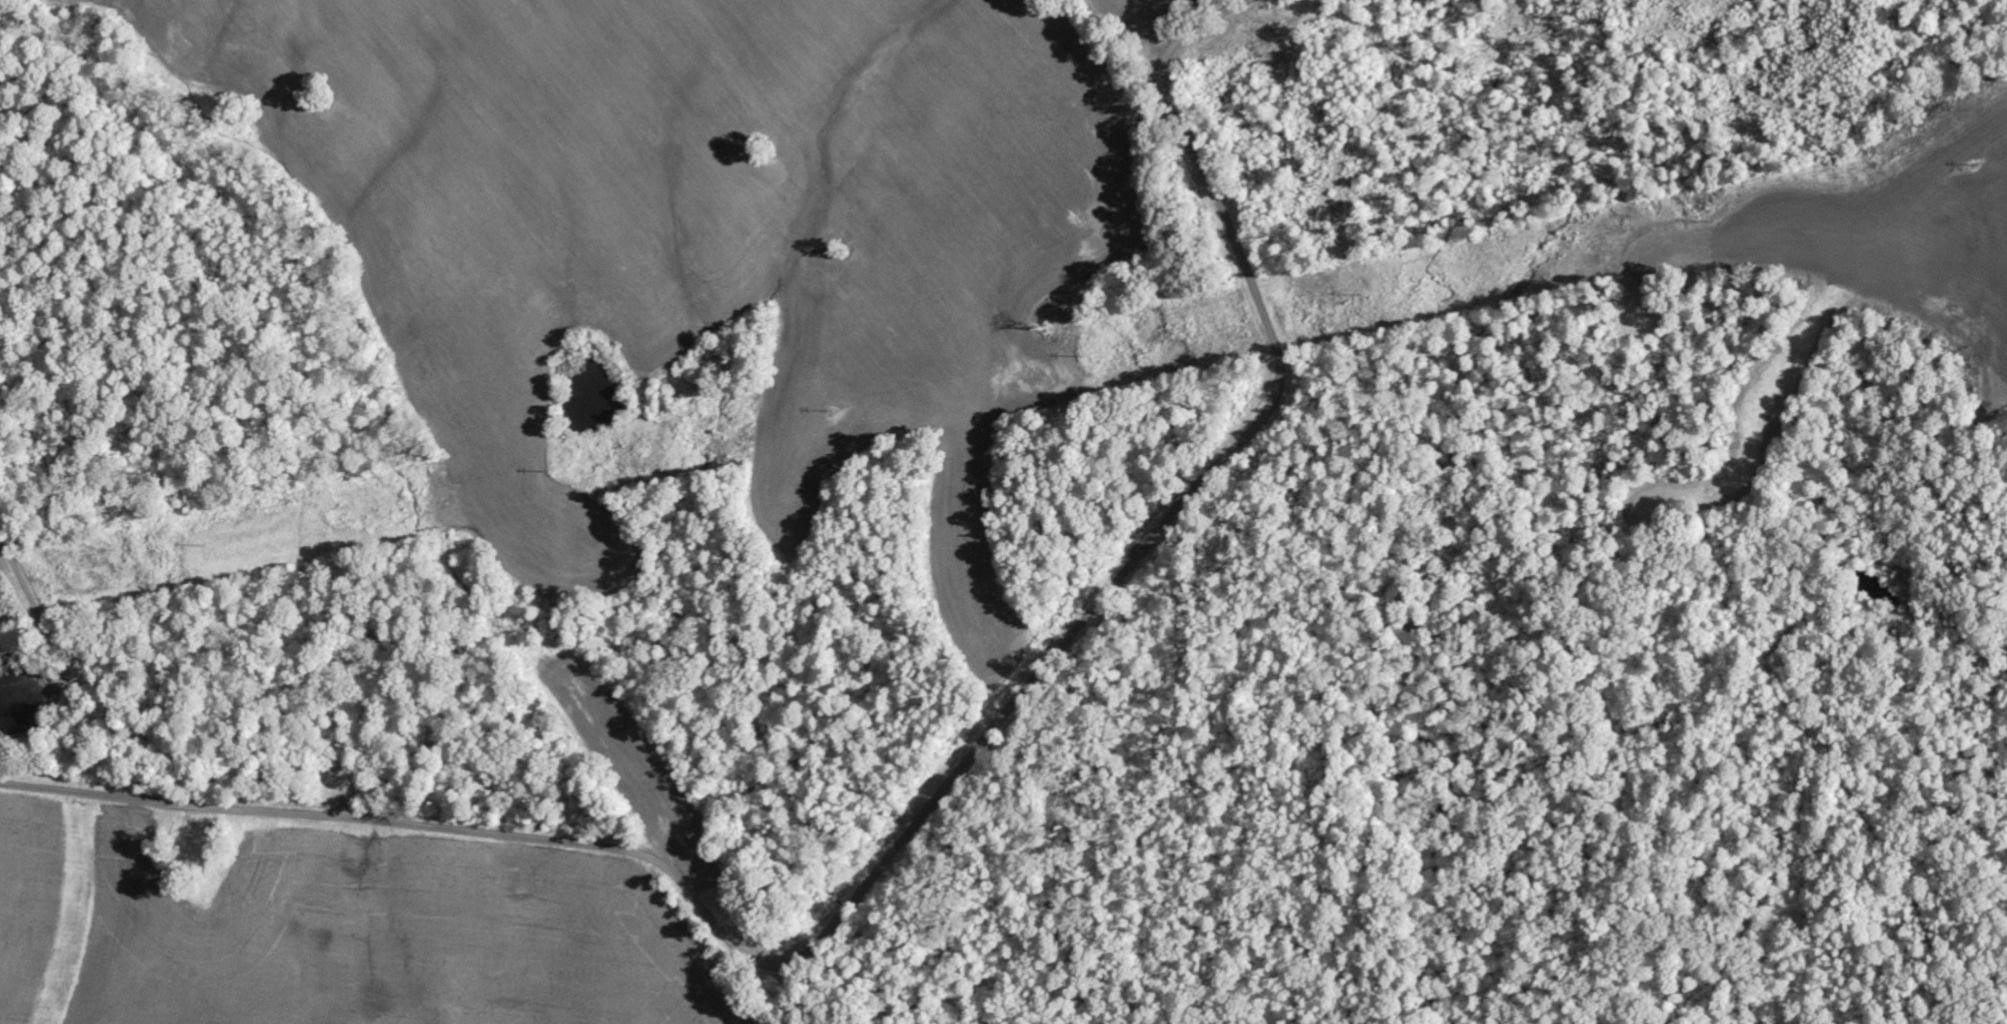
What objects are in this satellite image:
road: (919, 825)

